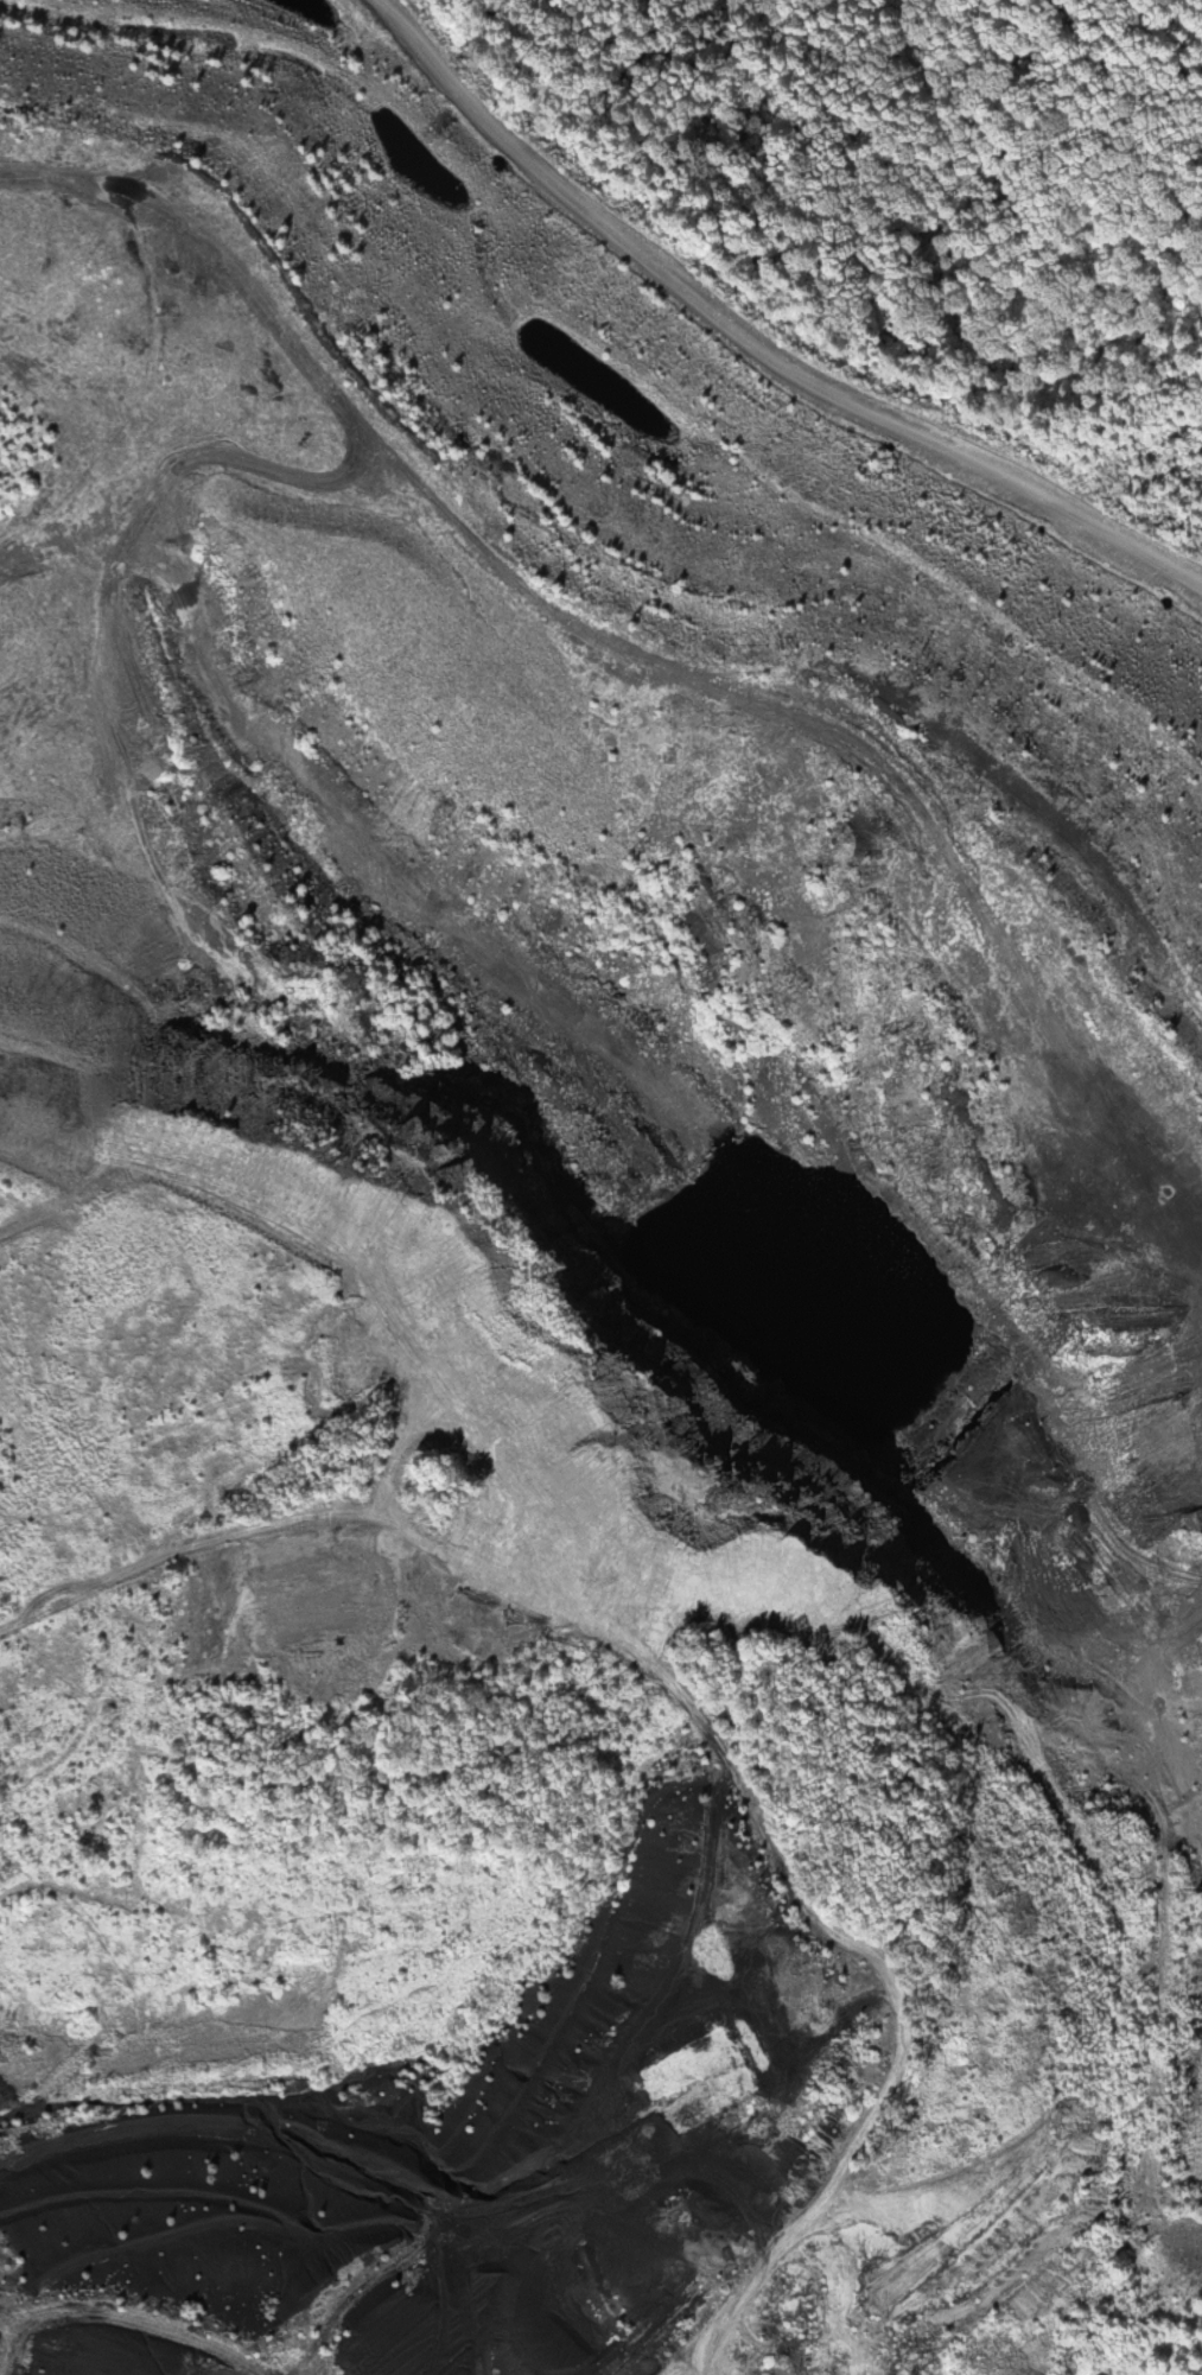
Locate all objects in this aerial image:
road: (751, 389)
road: (1175, 2208)
road: (7, 2299)

